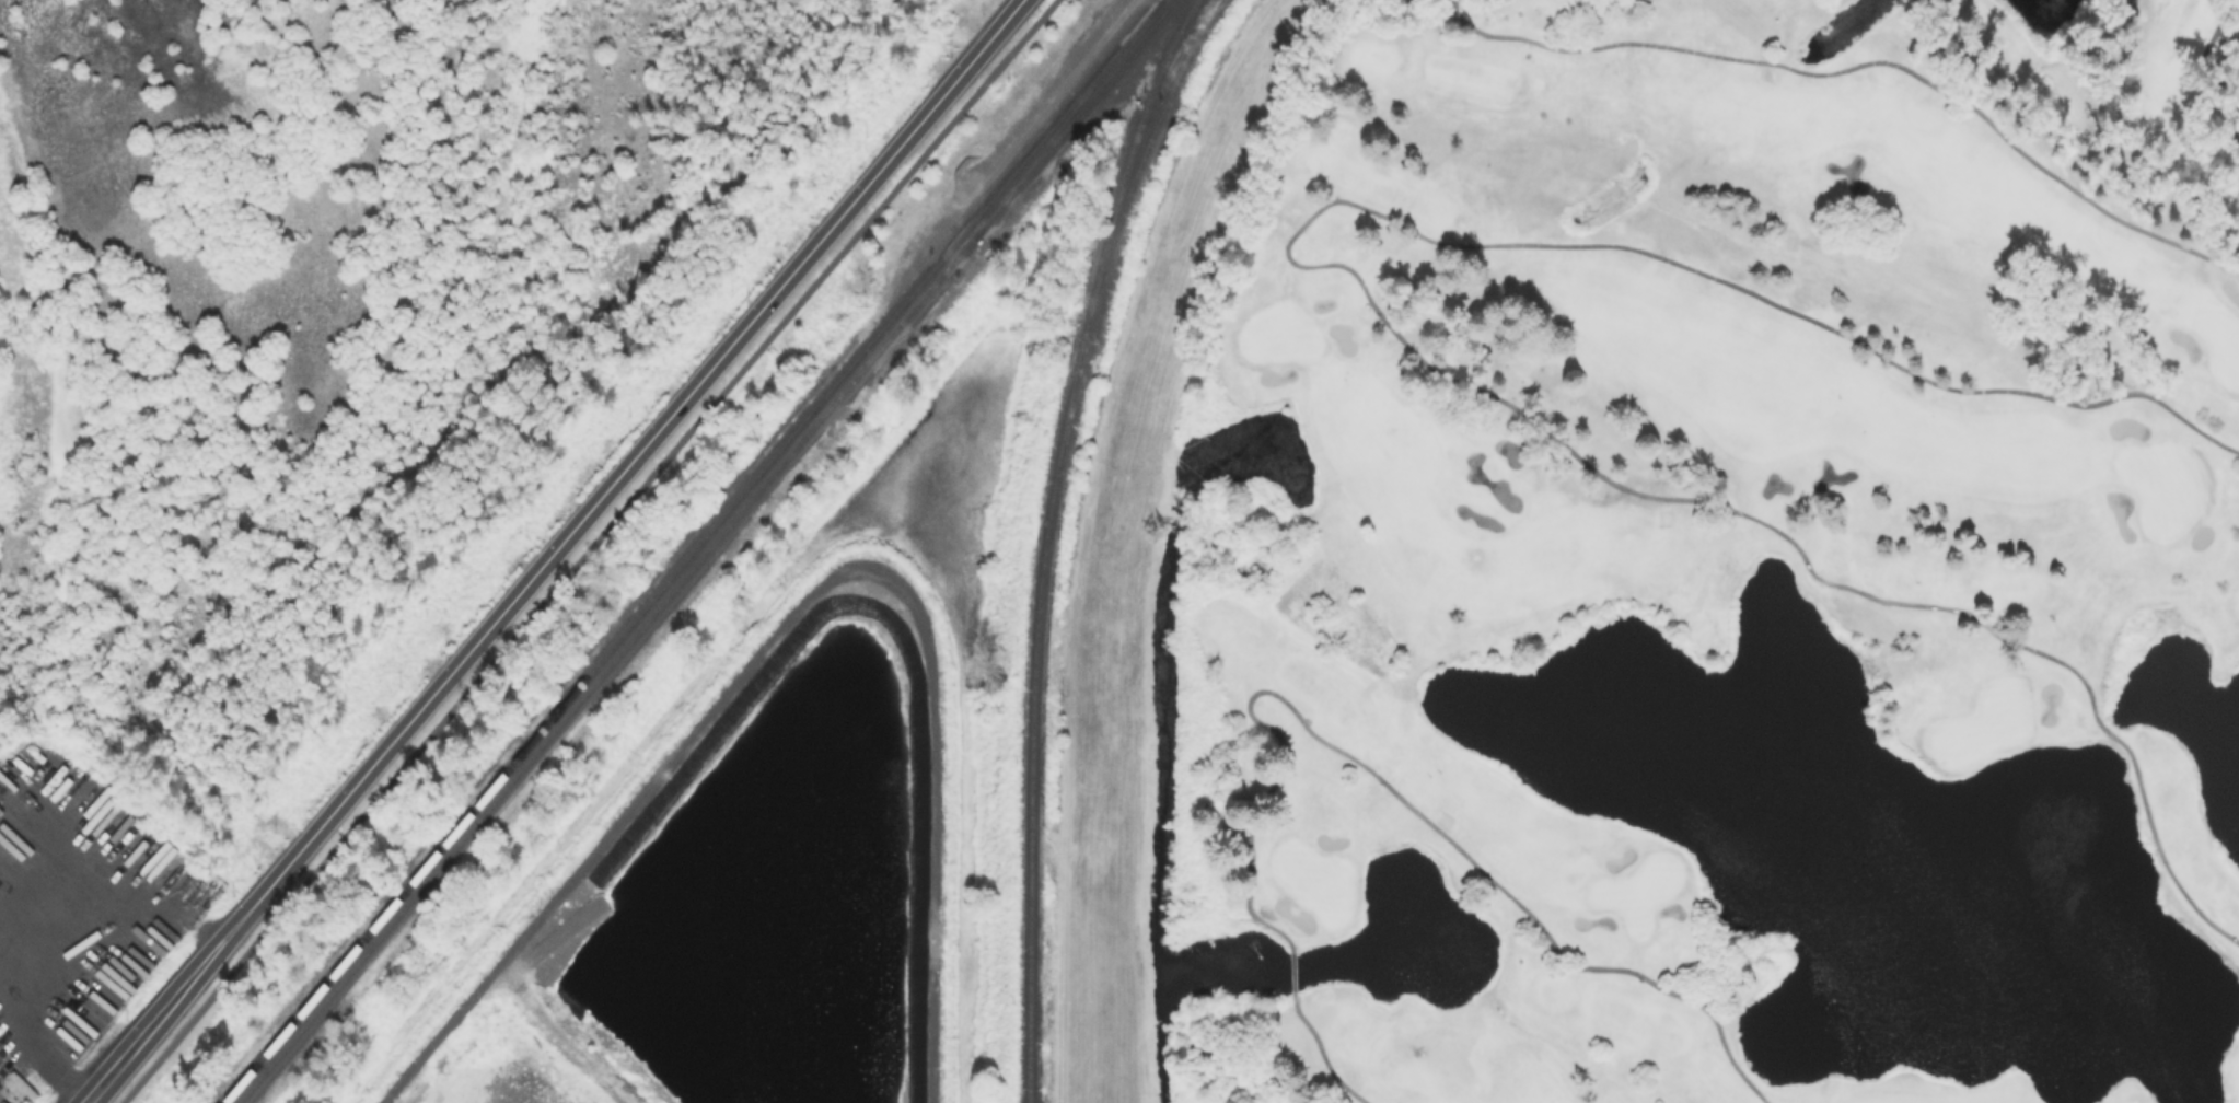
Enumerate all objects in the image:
railway: (1200, 31)
road: (1865, 63)
railway: (1067, 116)
railway: (1074, 116)
railway: (1129, 193)
road: (1370, 297)
road: (1082, 535)
railway: (1044, 539)
road: (588, 549)
road: (555, 550)
railway: (691, 551)
park: (1679, 566)
railway: (605, 667)
road: (1403, 799)
wastewater plant: (736, 886)
road: (1292, 971)
road: (37, 1034)
road: (1322, 1053)

